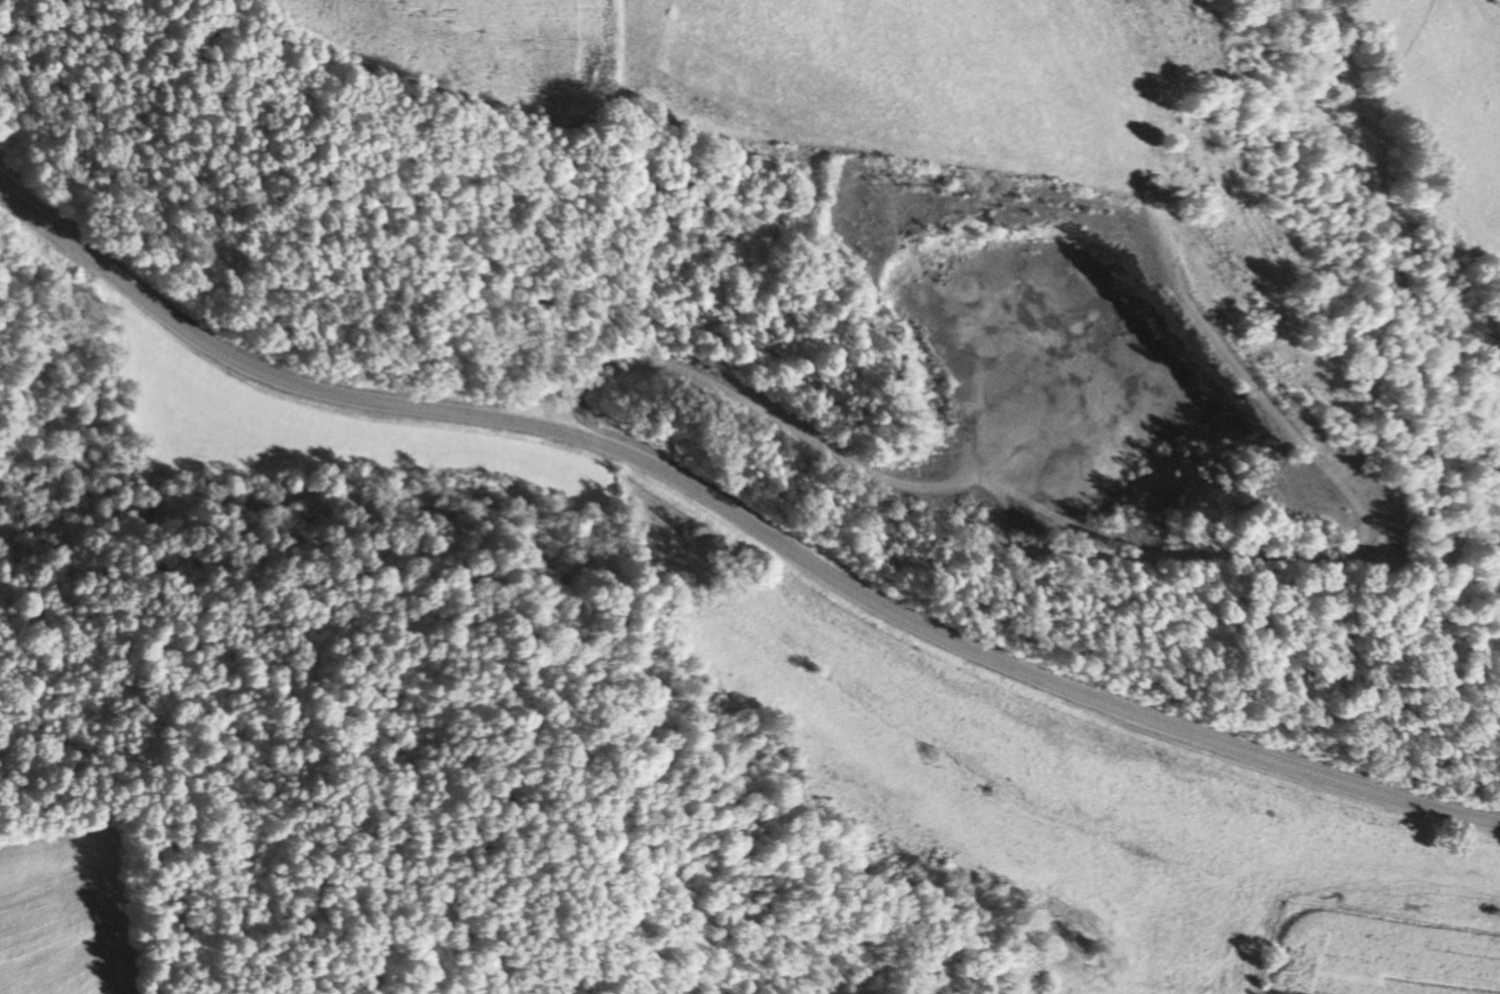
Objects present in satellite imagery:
crop: (490, 48)
crop: (915, 87)
crop: (1453, 119)
quarry: (1023, 336)
road: (745, 404)
crop: (311, 419)
road: (739, 516)
crop: (56, 917)
crop: (1377, 953)

